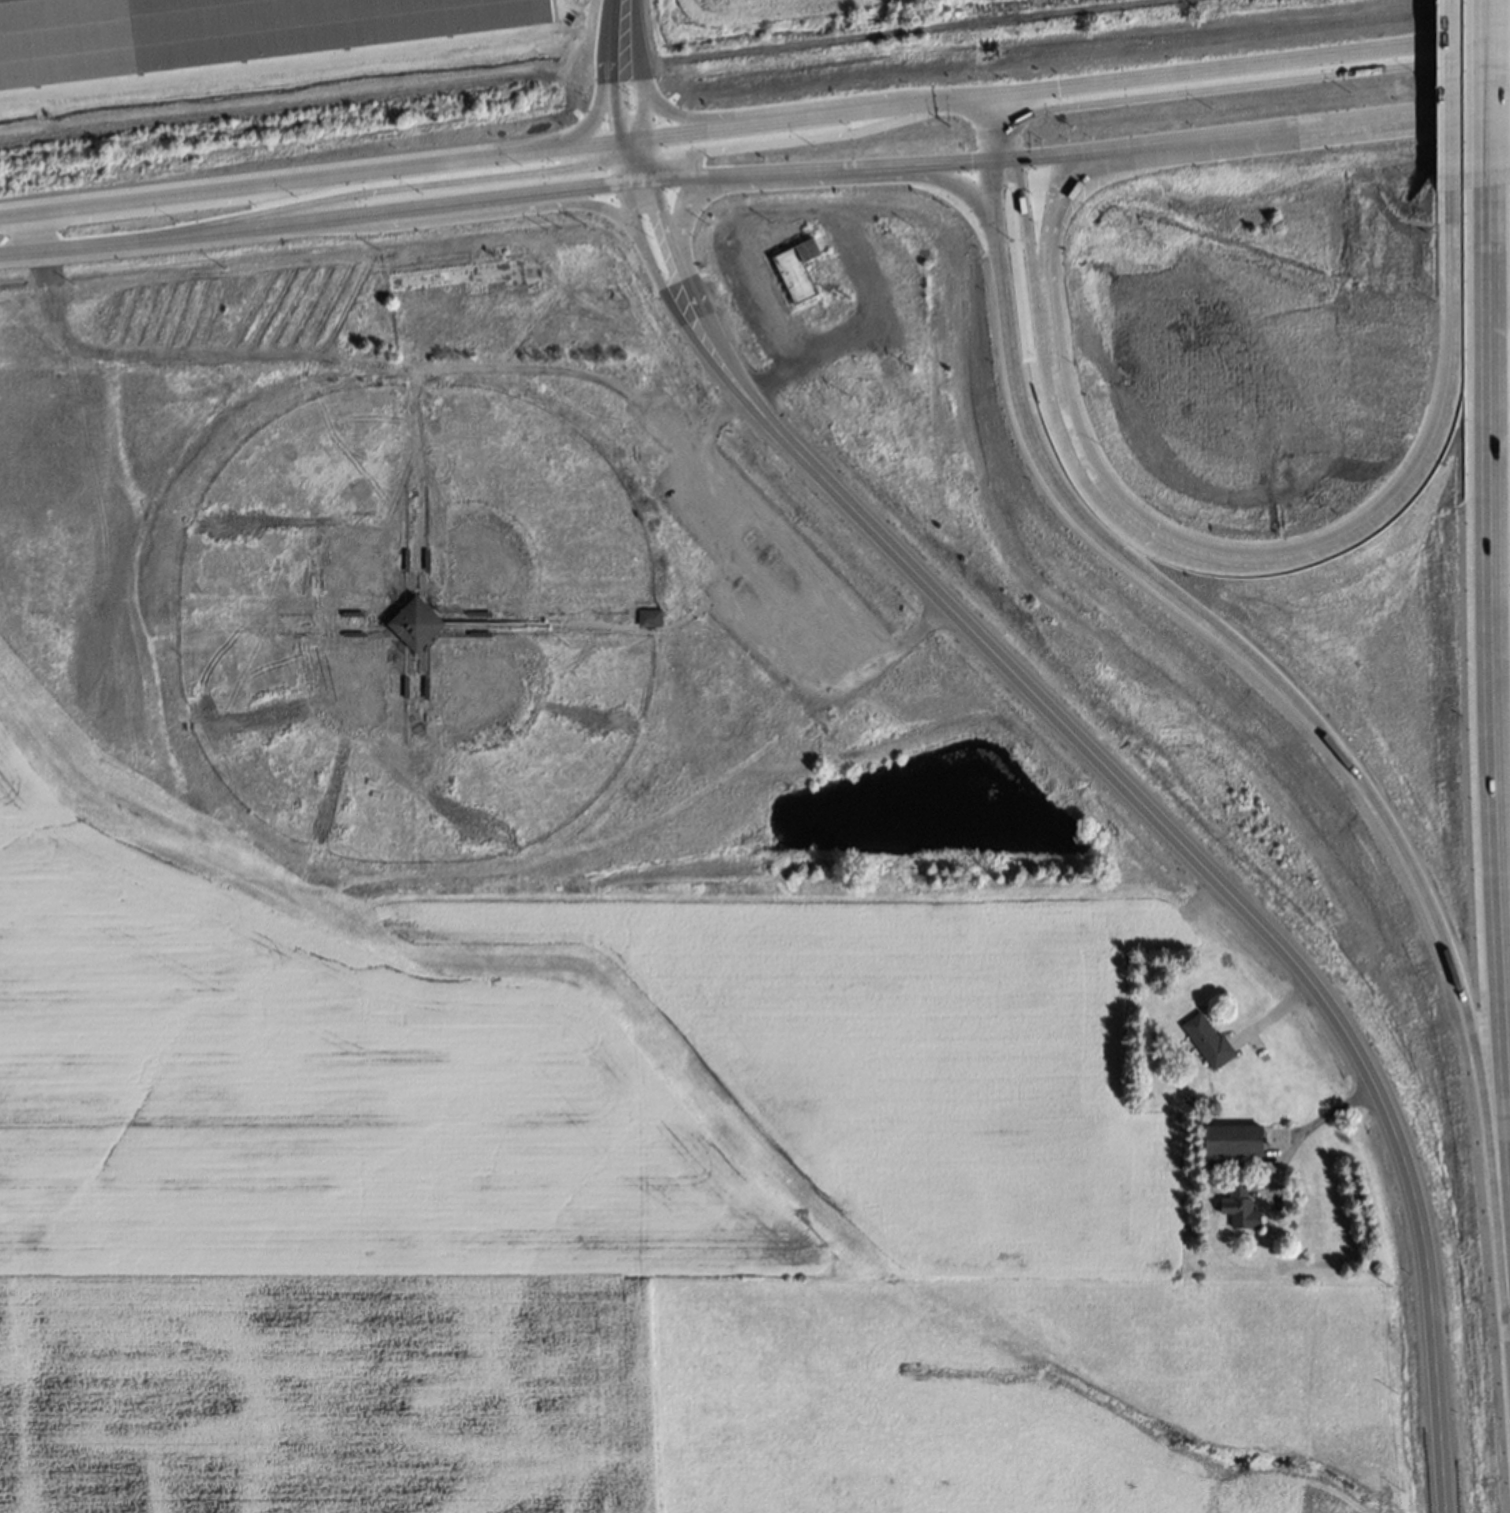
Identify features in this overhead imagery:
building: (221, 30)
road: (636, 40)
road: (1241, 63)
road: (611, 69)
road: (1258, 82)
road: (1482, 84)
traffic signals: (1058, 86)
road: (1452, 89)
road: (600, 97)
road: (960, 97)
road: (991, 103)
traffic signals: (1060, 107)
road: (776, 109)
road: (643, 110)
road: (796, 118)
road: (992, 135)
road: (1262, 135)
road: (1010, 137)
road: (800, 138)
road: (633, 139)
road: (634, 147)
road: (621, 148)
road: (647, 148)
road: (1000, 158)
traffic signals: (971, 160)
road: (847, 165)
road: (625, 168)
road: (636, 168)
road: (649, 168)
road: (916, 176)
road: (679, 177)
road: (309, 178)
road: (639, 180)
road: (407, 186)
road: (990, 187)
traffic signals: (1021, 194)
road: (474, 213)
road: (785, 214)
road: (314, 219)
road: (34, 231)
road: (683, 237)
road: (305, 254)
building: (798, 272)
road: (683, 284)
road: (664, 291)
road: (1054, 293)
road: (353, 360)
park: (522, 512)
park: (297, 515)
road: (1238, 554)
road: (769, 581)
parking lot: (781, 586)
building: (650, 617)
building: (409, 623)
road: (1492, 646)
park: (300, 732)
park: (521, 733)
road: (1332, 734)
road: (1221, 881)
building: (1208, 1040)
road: (1313, 1122)
building: (1234, 1140)
building: (1240, 1206)

